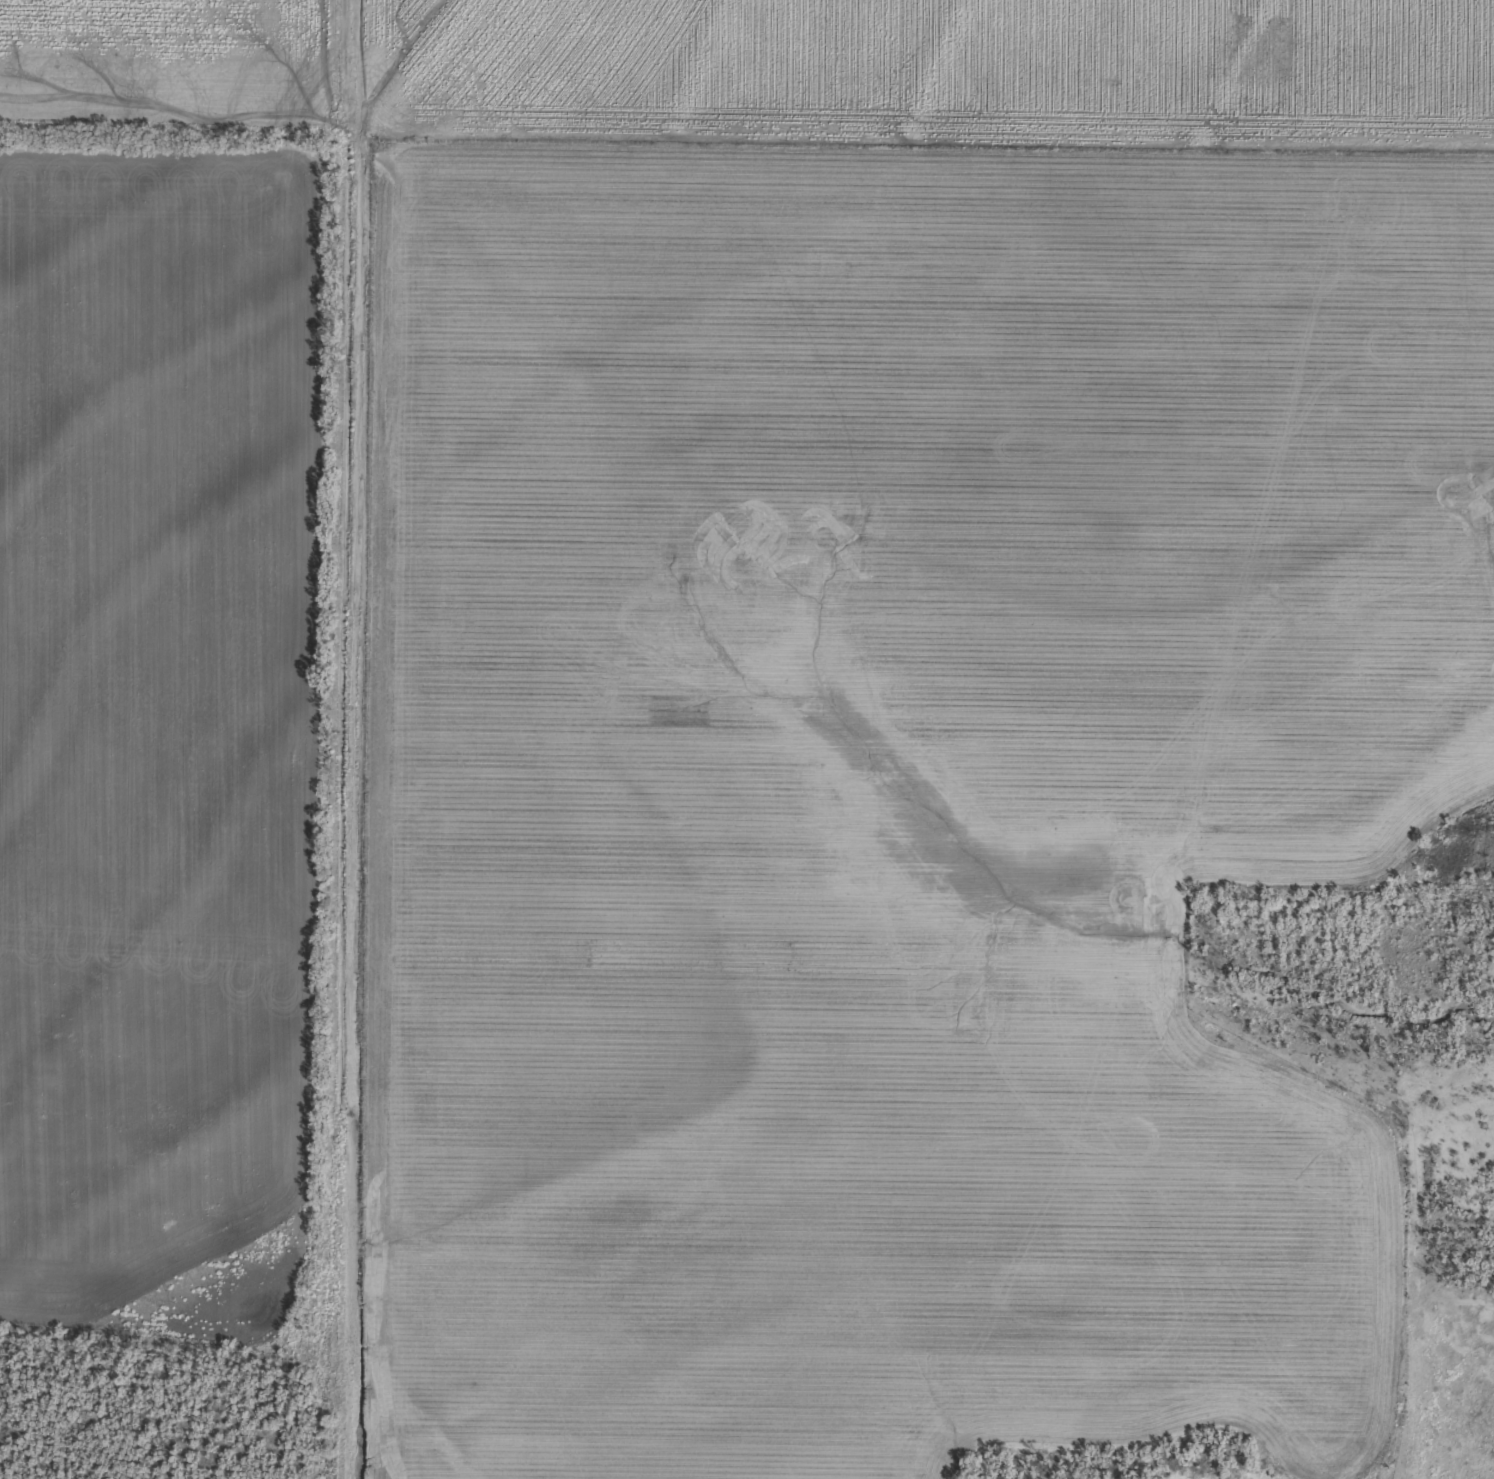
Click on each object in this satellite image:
road: (324, 738)

